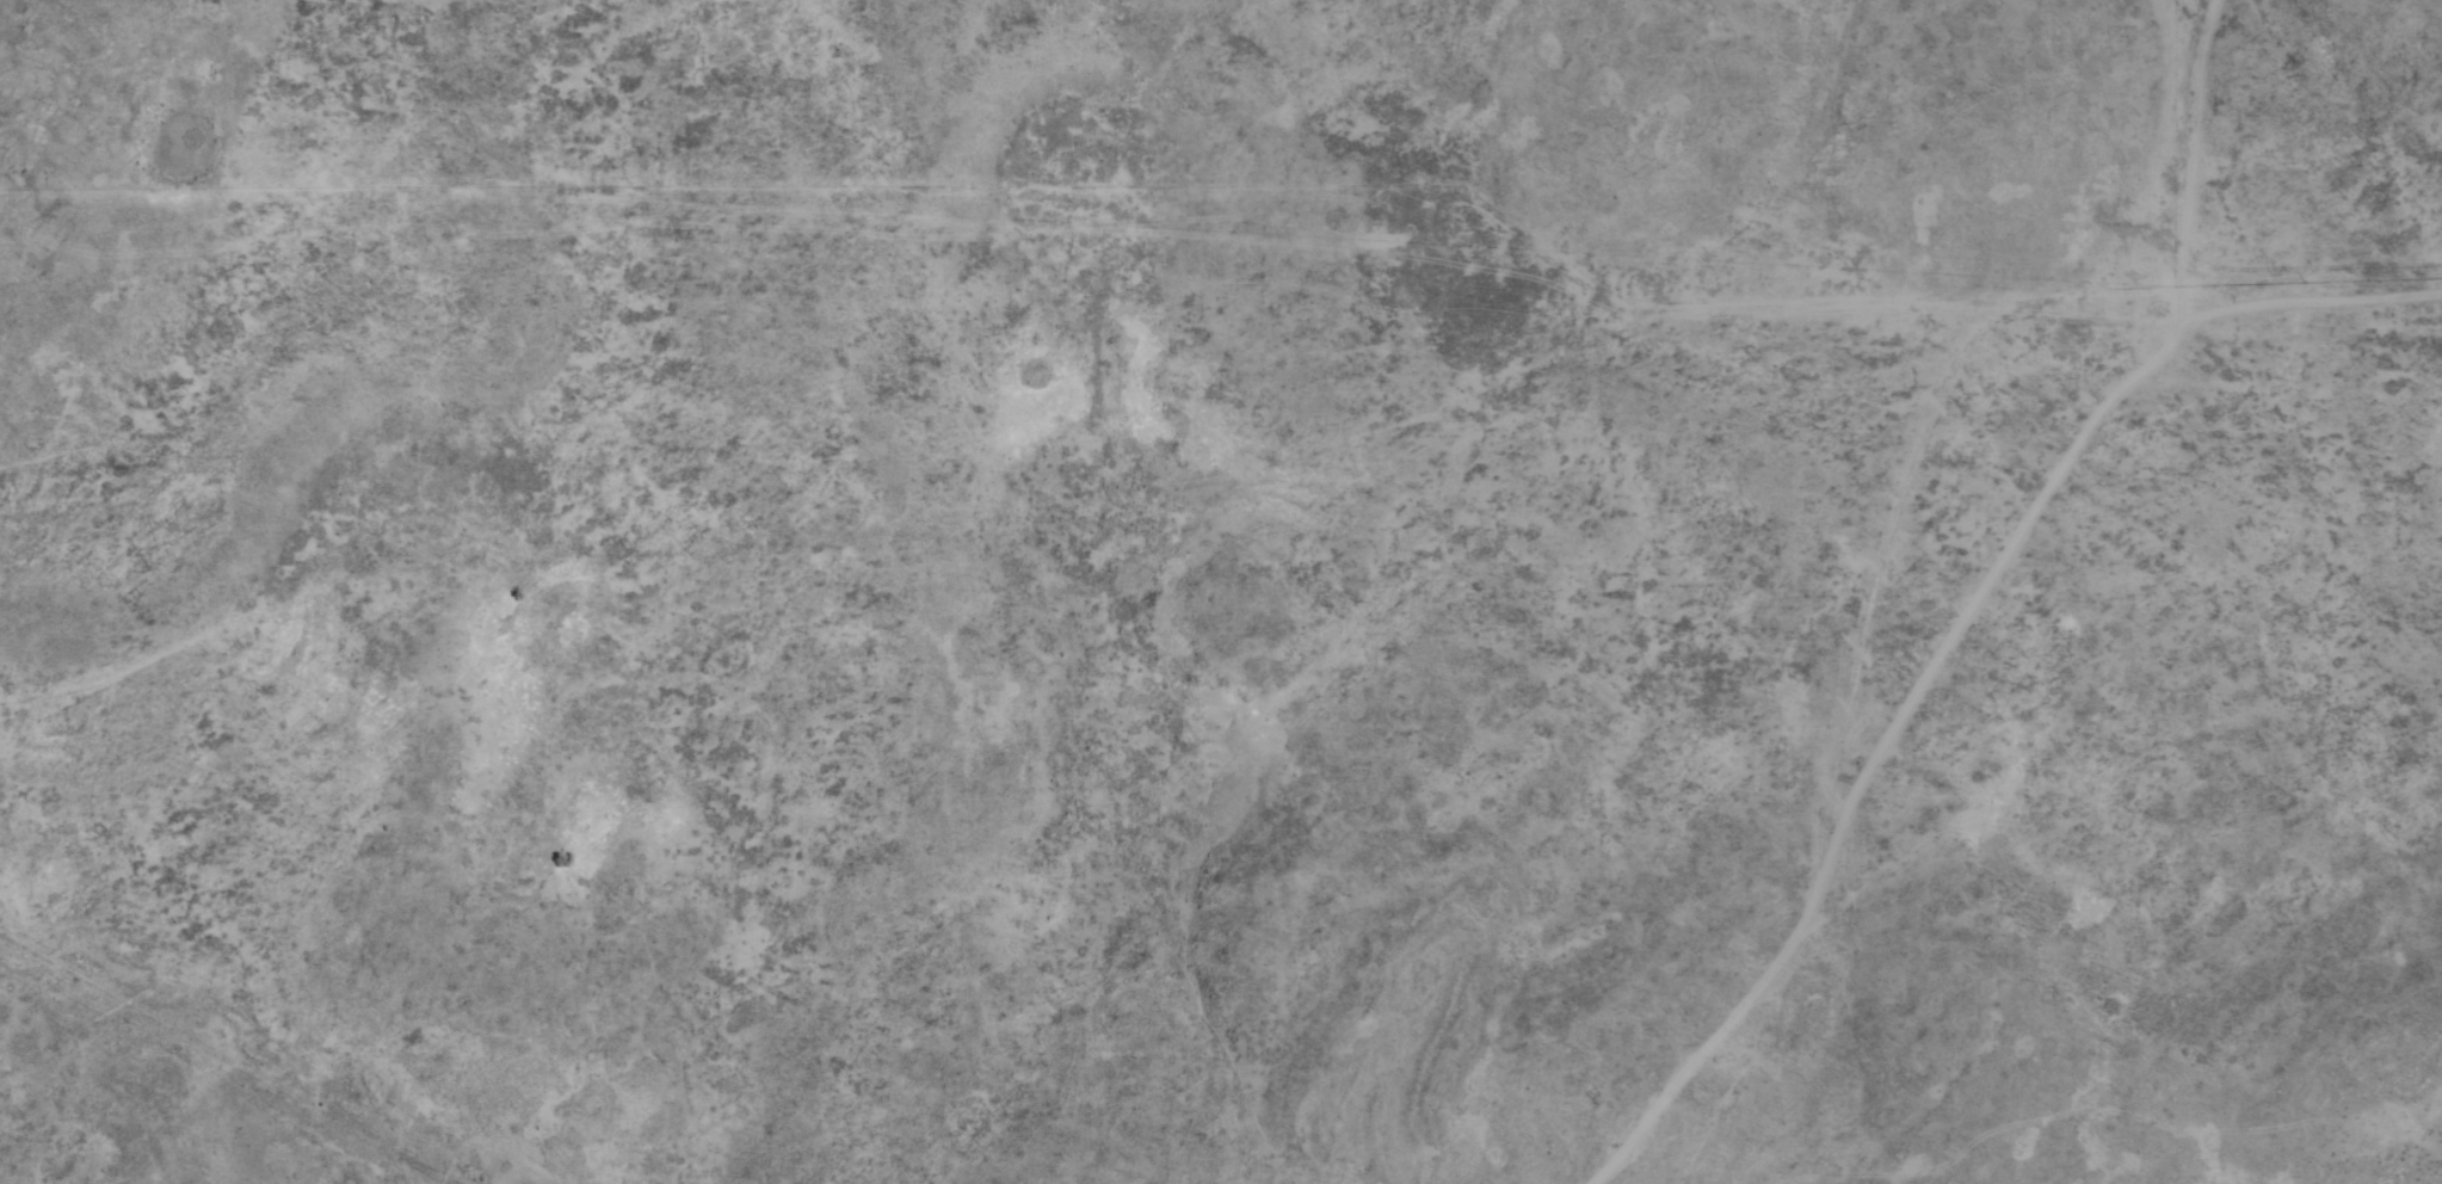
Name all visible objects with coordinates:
road: (2191, 252)

